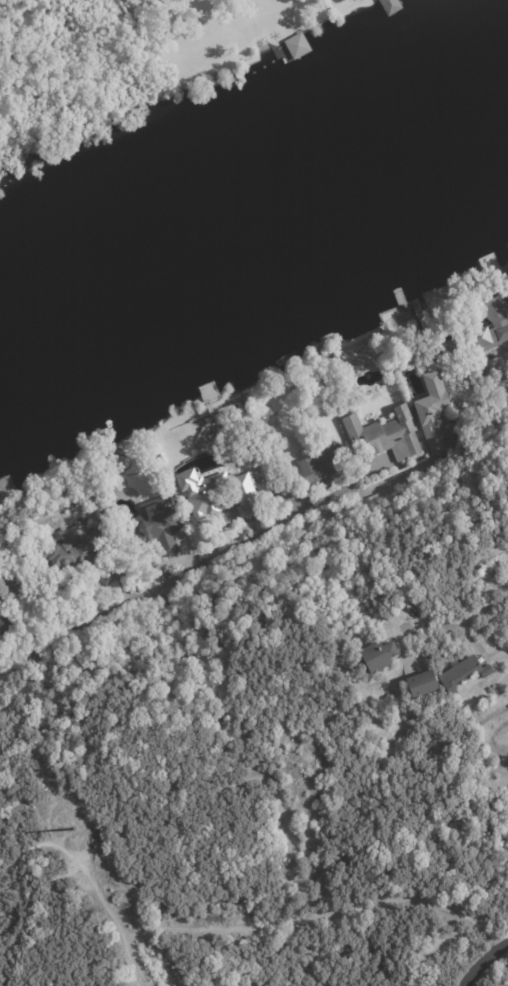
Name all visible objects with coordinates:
building: (389, 6)
building: (296, 46)
river: (254, 199)
building: (495, 325)
building: (431, 413)
building: (384, 438)
building: (269, 459)
building: (324, 467)
road: (405, 475)
building: (215, 497)
building: (98, 513)
building: (152, 530)
building: (75, 558)
road: (188, 573)
building: (12, 589)
road: (462, 619)
building: (3, 626)
building: (377, 656)
road: (1, 663)
building: (462, 675)
building: (420, 685)
power tower: (70, 828)
road: (489, 966)

